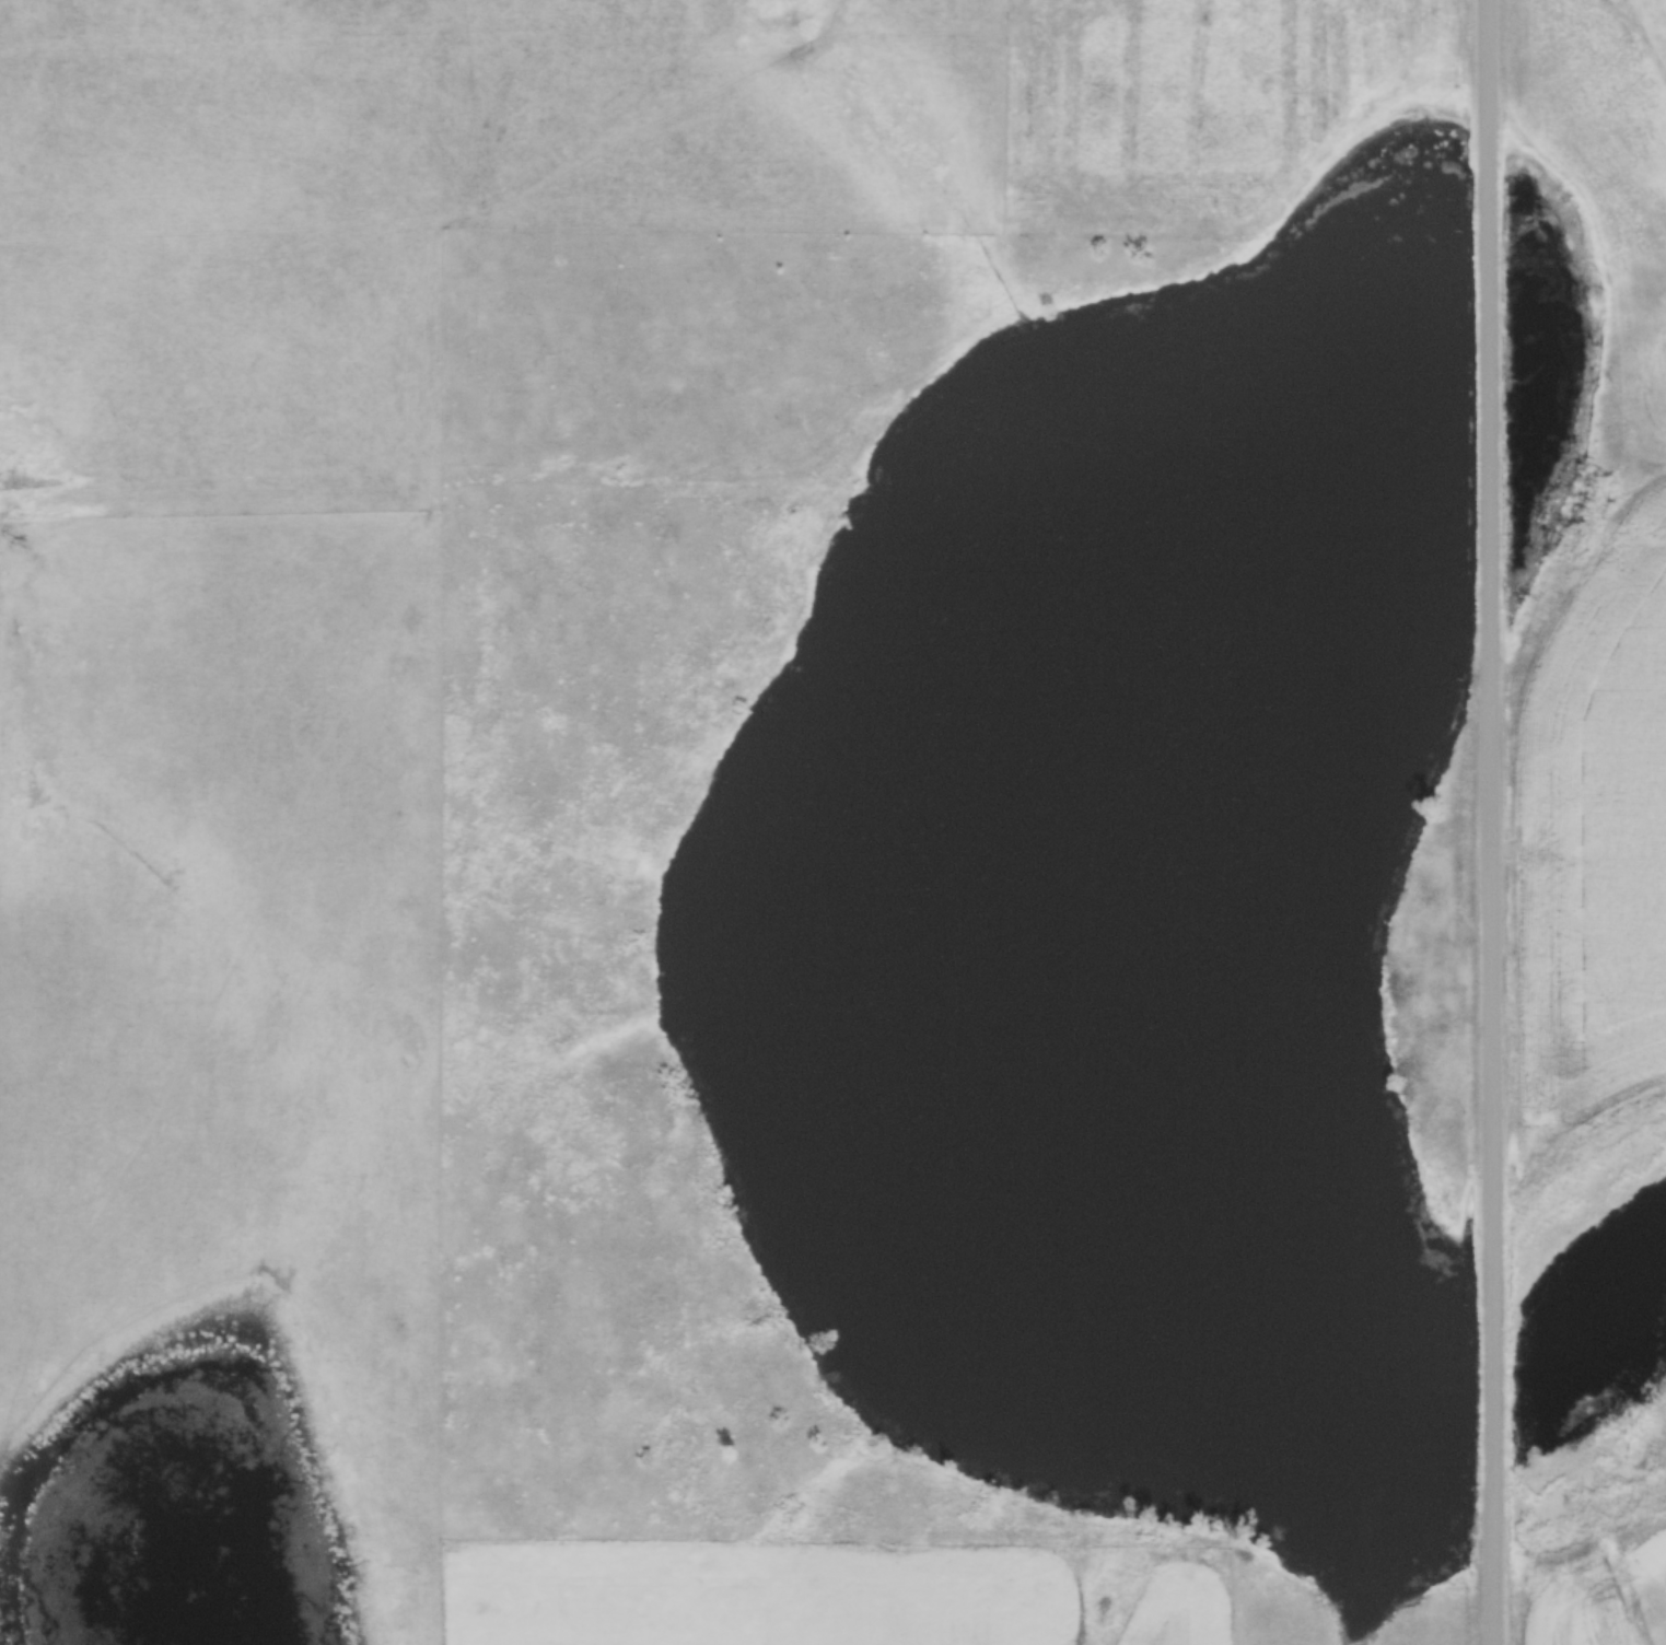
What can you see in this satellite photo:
road: (1493, 822)

